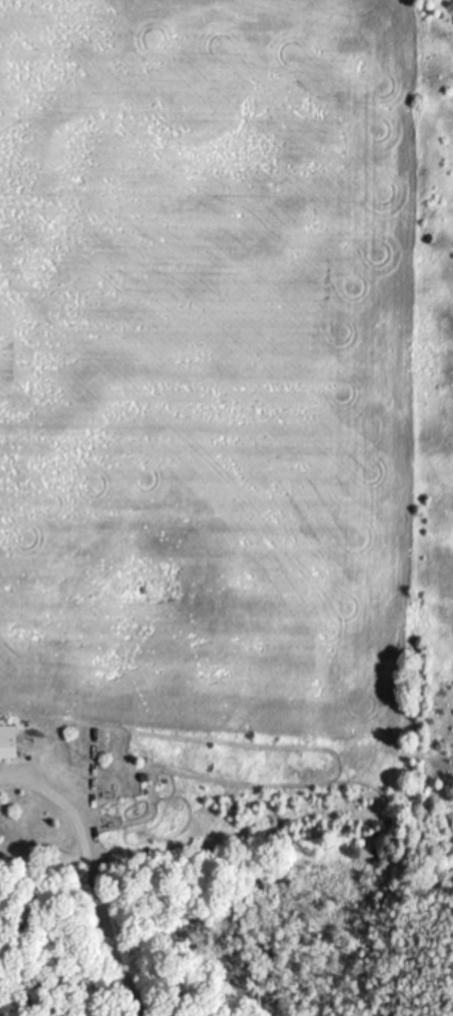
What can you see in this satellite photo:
building: (10, 742)
road: (91, 876)

